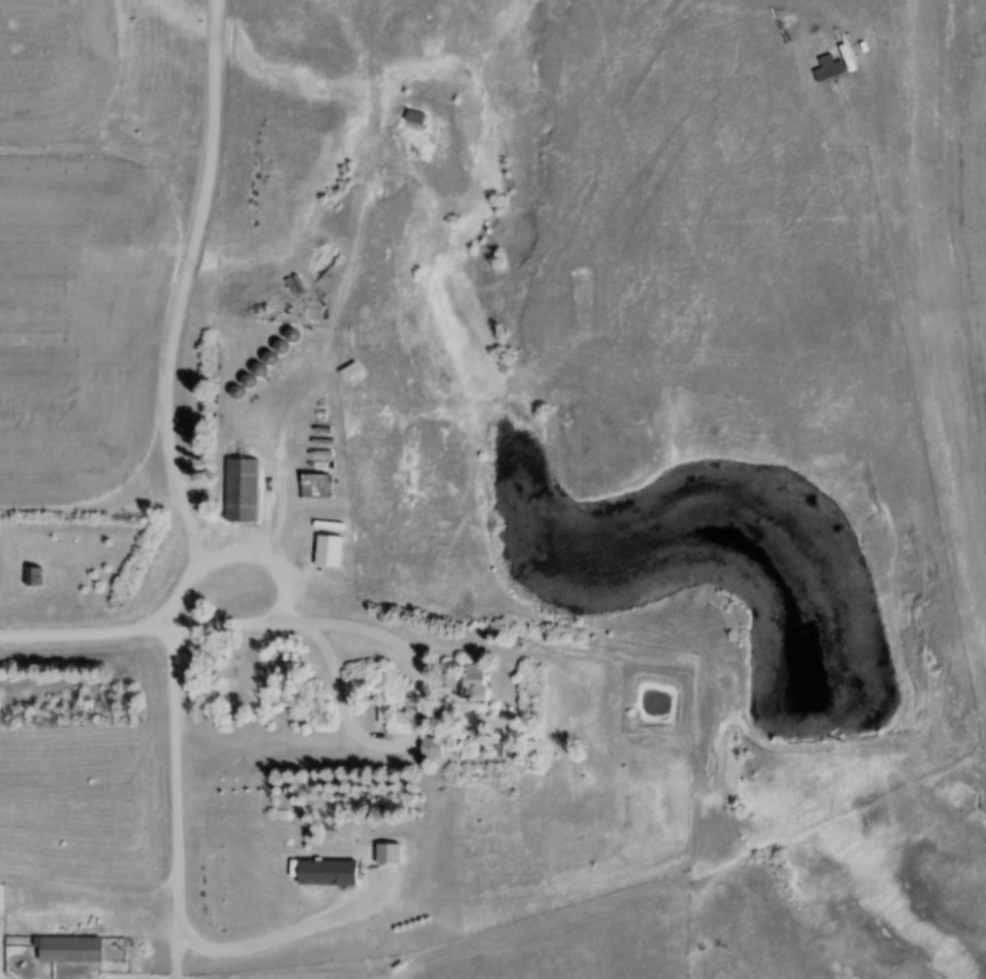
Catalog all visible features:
building: (831, 69)
building: (419, 116)
road: (187, 286)
building: (353, 372)
building: (317, 486)
building: (244, 491)
building: (332, 555)
road: (234, 558)
building: (35, 577)
road: (75, 637)
road: (406, 659)
building: (471, 682)
building: (235, 690)
building: (385, 715)
road: (176, 872)
building: (331, 873)
building: (72, 950)
road: (176, 957)

